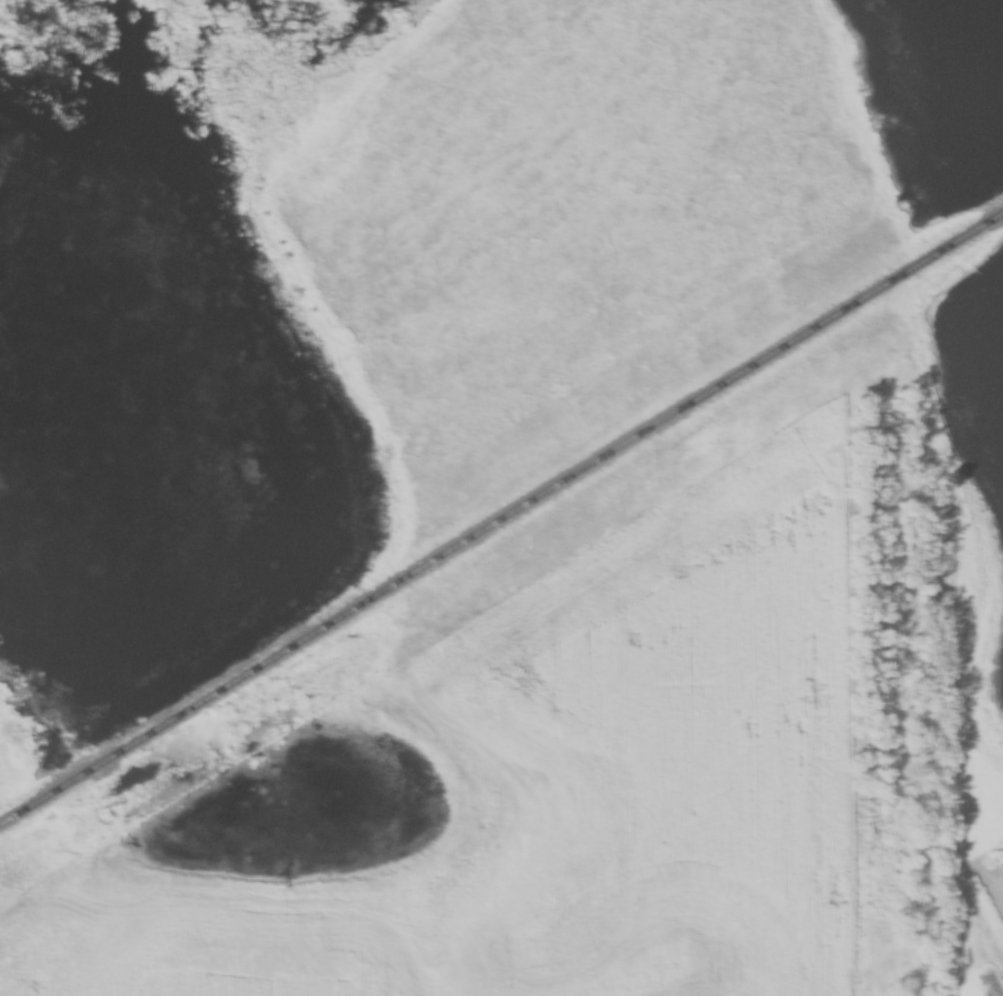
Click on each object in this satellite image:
railway: (501, 523)

